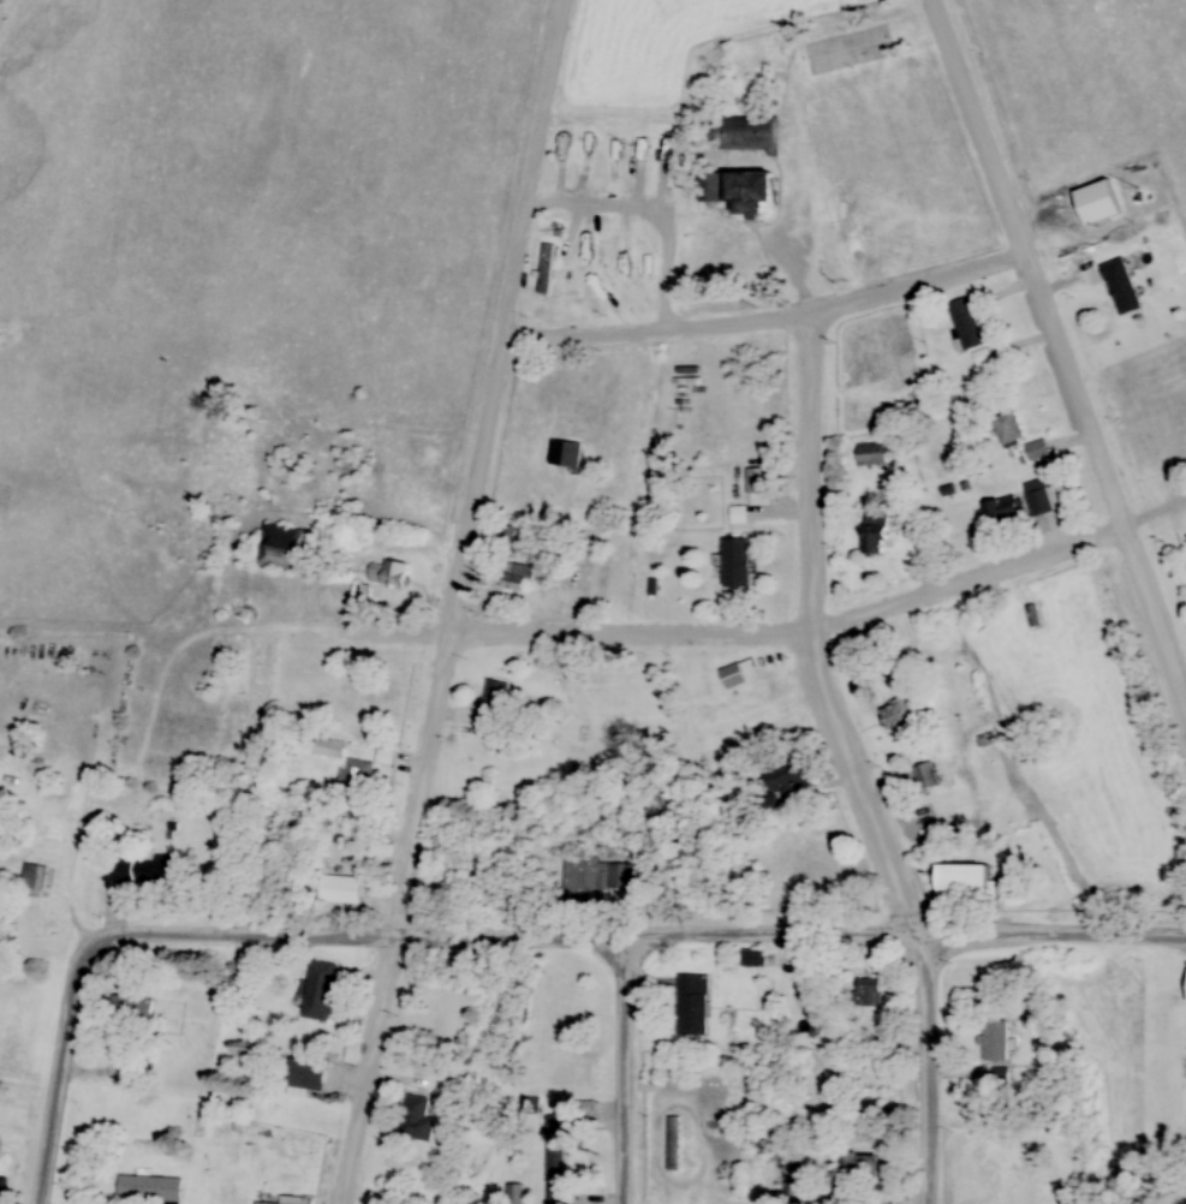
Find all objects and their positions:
building: (747, 133)
building: (570, 145)
building: (679, 162)
building: (737, 190)
building: (1098, 203)
building: (595, 260)
building: (621, 260)
building: (646, 260)
building: (547, 269)
building: (1120, 286)
building: (574, 290)
road: (775, 322)
building: (965, 323)
road: (1065, 339)
building: (1008, 428)
building: (565, 454)
building: (871, 454)
building: (1038, 496)
building: (1001, 511)
building: (738, 514)
building: (874, 535)
building: (279, 548)
building: (734, 564)
building: (341, 568)
building: (389, 573)
building: (517, 578)
road: (463, 602)
building: (1032, 615)
road: (803, 634)
road: (817, 658)
building: (732, 676)
building: (493, 709)
building: (896, 716)
building: (328, 747)
building: (357, 775)
building: (924, 776)
building: (782, 783)
building: (97, 828)
building: (148, 871)
building: (578, 871)
building: (42, 878)
building: (961, 884)
building: (347, 890)
road: (640, 937)
building: (752, 958)
building: (327, 993)
building: (868, 993)
building: (692, 1003)
building: (135, 1009)
building: (994, 1042)
road: (632, 1071)
building: (312, 1072)
road: (66, 1074)
park: (1169, 1092)
building: (869, 1107)
building: (423, 1120)
building: (279, 1144)
building: (674, 1144)
building: (562, 1149)
building: (1003, 1154)
building: (852, 1166)
building: (753, 1184)
building: (6, 1190)
building: (157, 1191)
building: (556, 1194)

